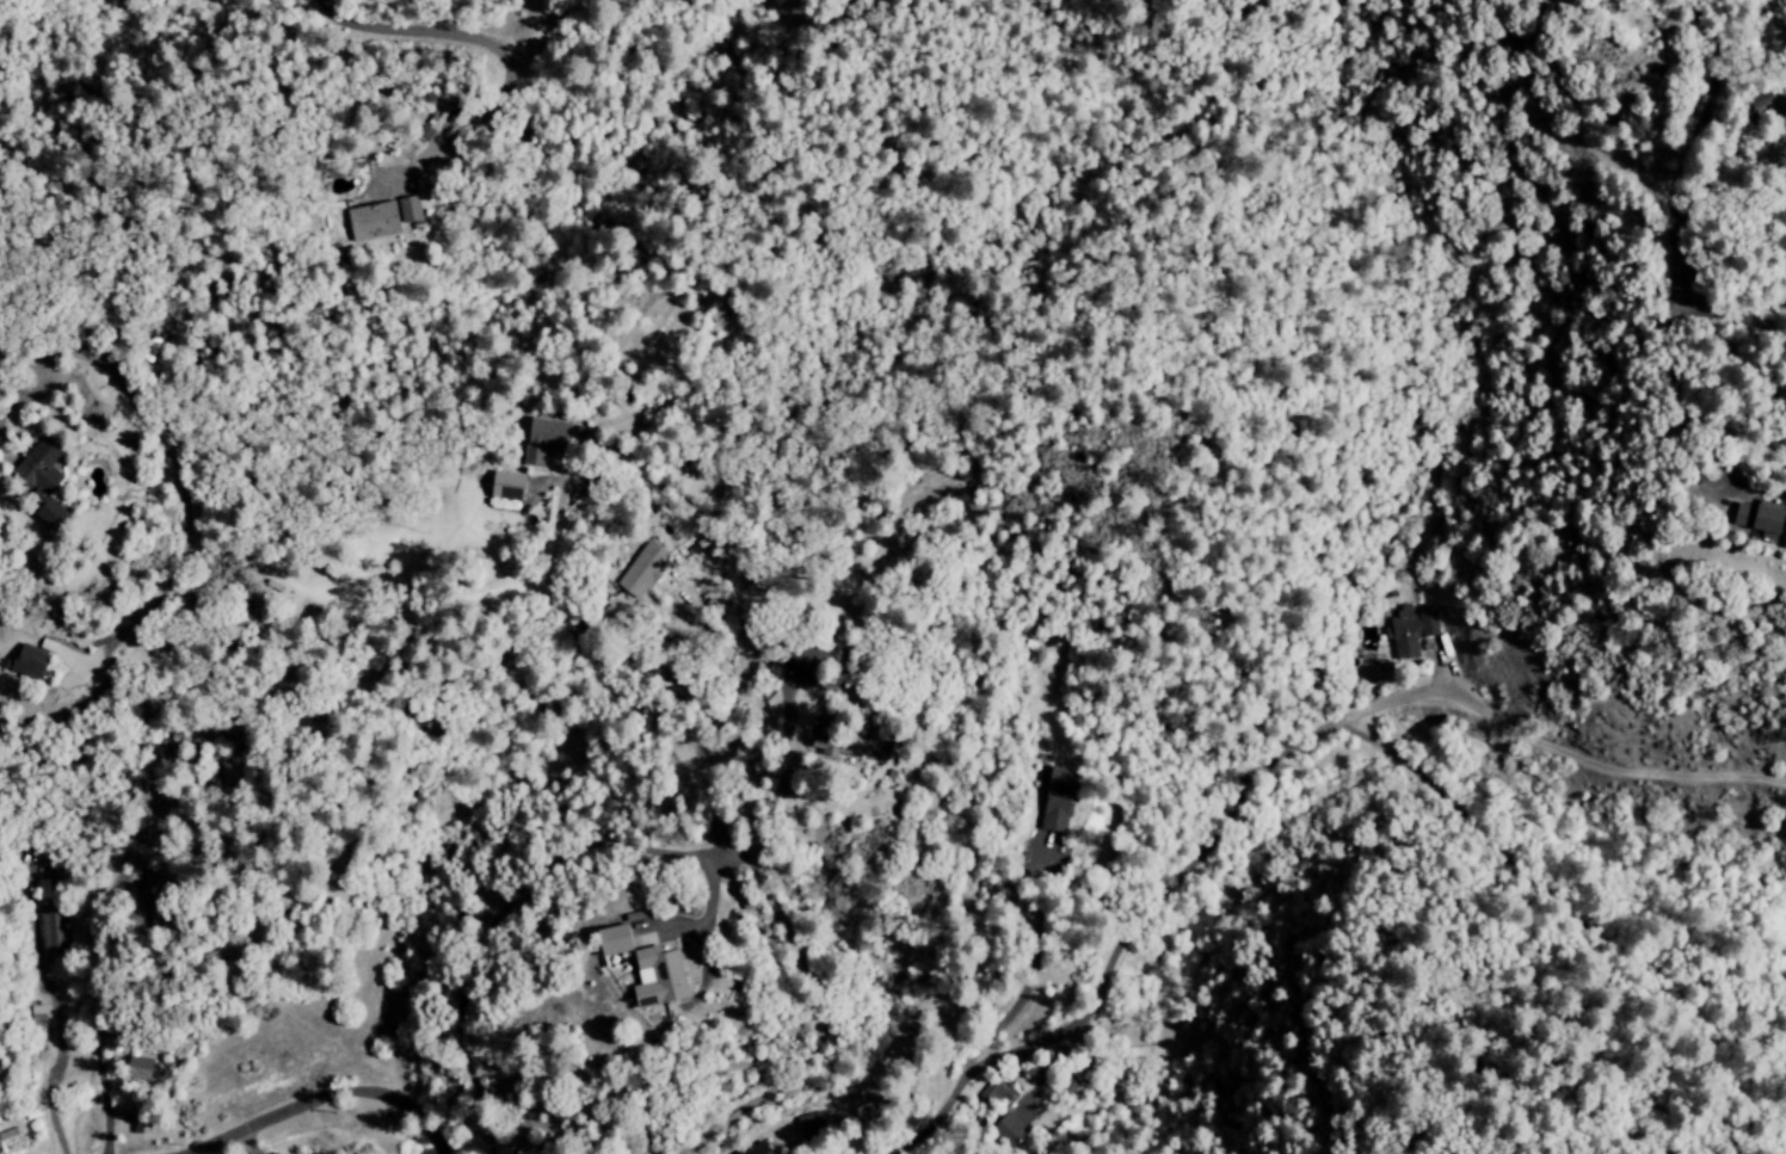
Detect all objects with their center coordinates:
road: (382, 27)
building: (1759, 101)
road: (492, 110)
road: (1671, 166)
building: (407, 210)
building: (370, 222)
building: (544, 439)
building: (27, 480)
building: (503, 490)
building: (1750, 518)
building: (641, 570)
building: (1410, 628)
building: (795, 658)
building: (26, 661)
building: (830, 745)
road: (1263, 766)
building: (1055, 801)
road: (467, 926)
building: (55, 933)
building: (605, 940)
road: (1030, 976)
building: (651, 977)
road: (818, 1012)
building: (41, 1022)
road: (53, 1055)
building: (137, 1066)
building: (1070, 1085)
building: (994, 1092)
road: (315, 1096)
building: (809, 1125)
building: (1008, 1130)
road: (750, 1137)
building: (755, 1149)
road: (441, 1153)

